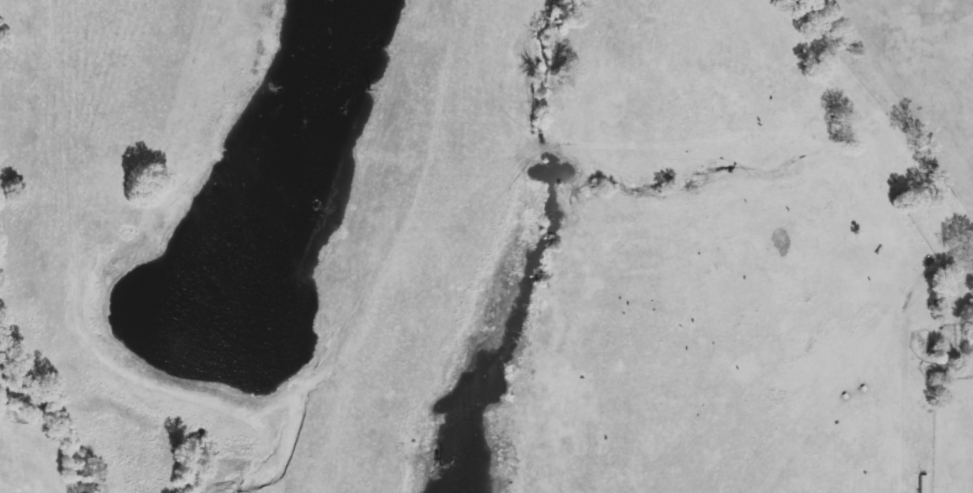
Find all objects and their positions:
road: (954, 274)

